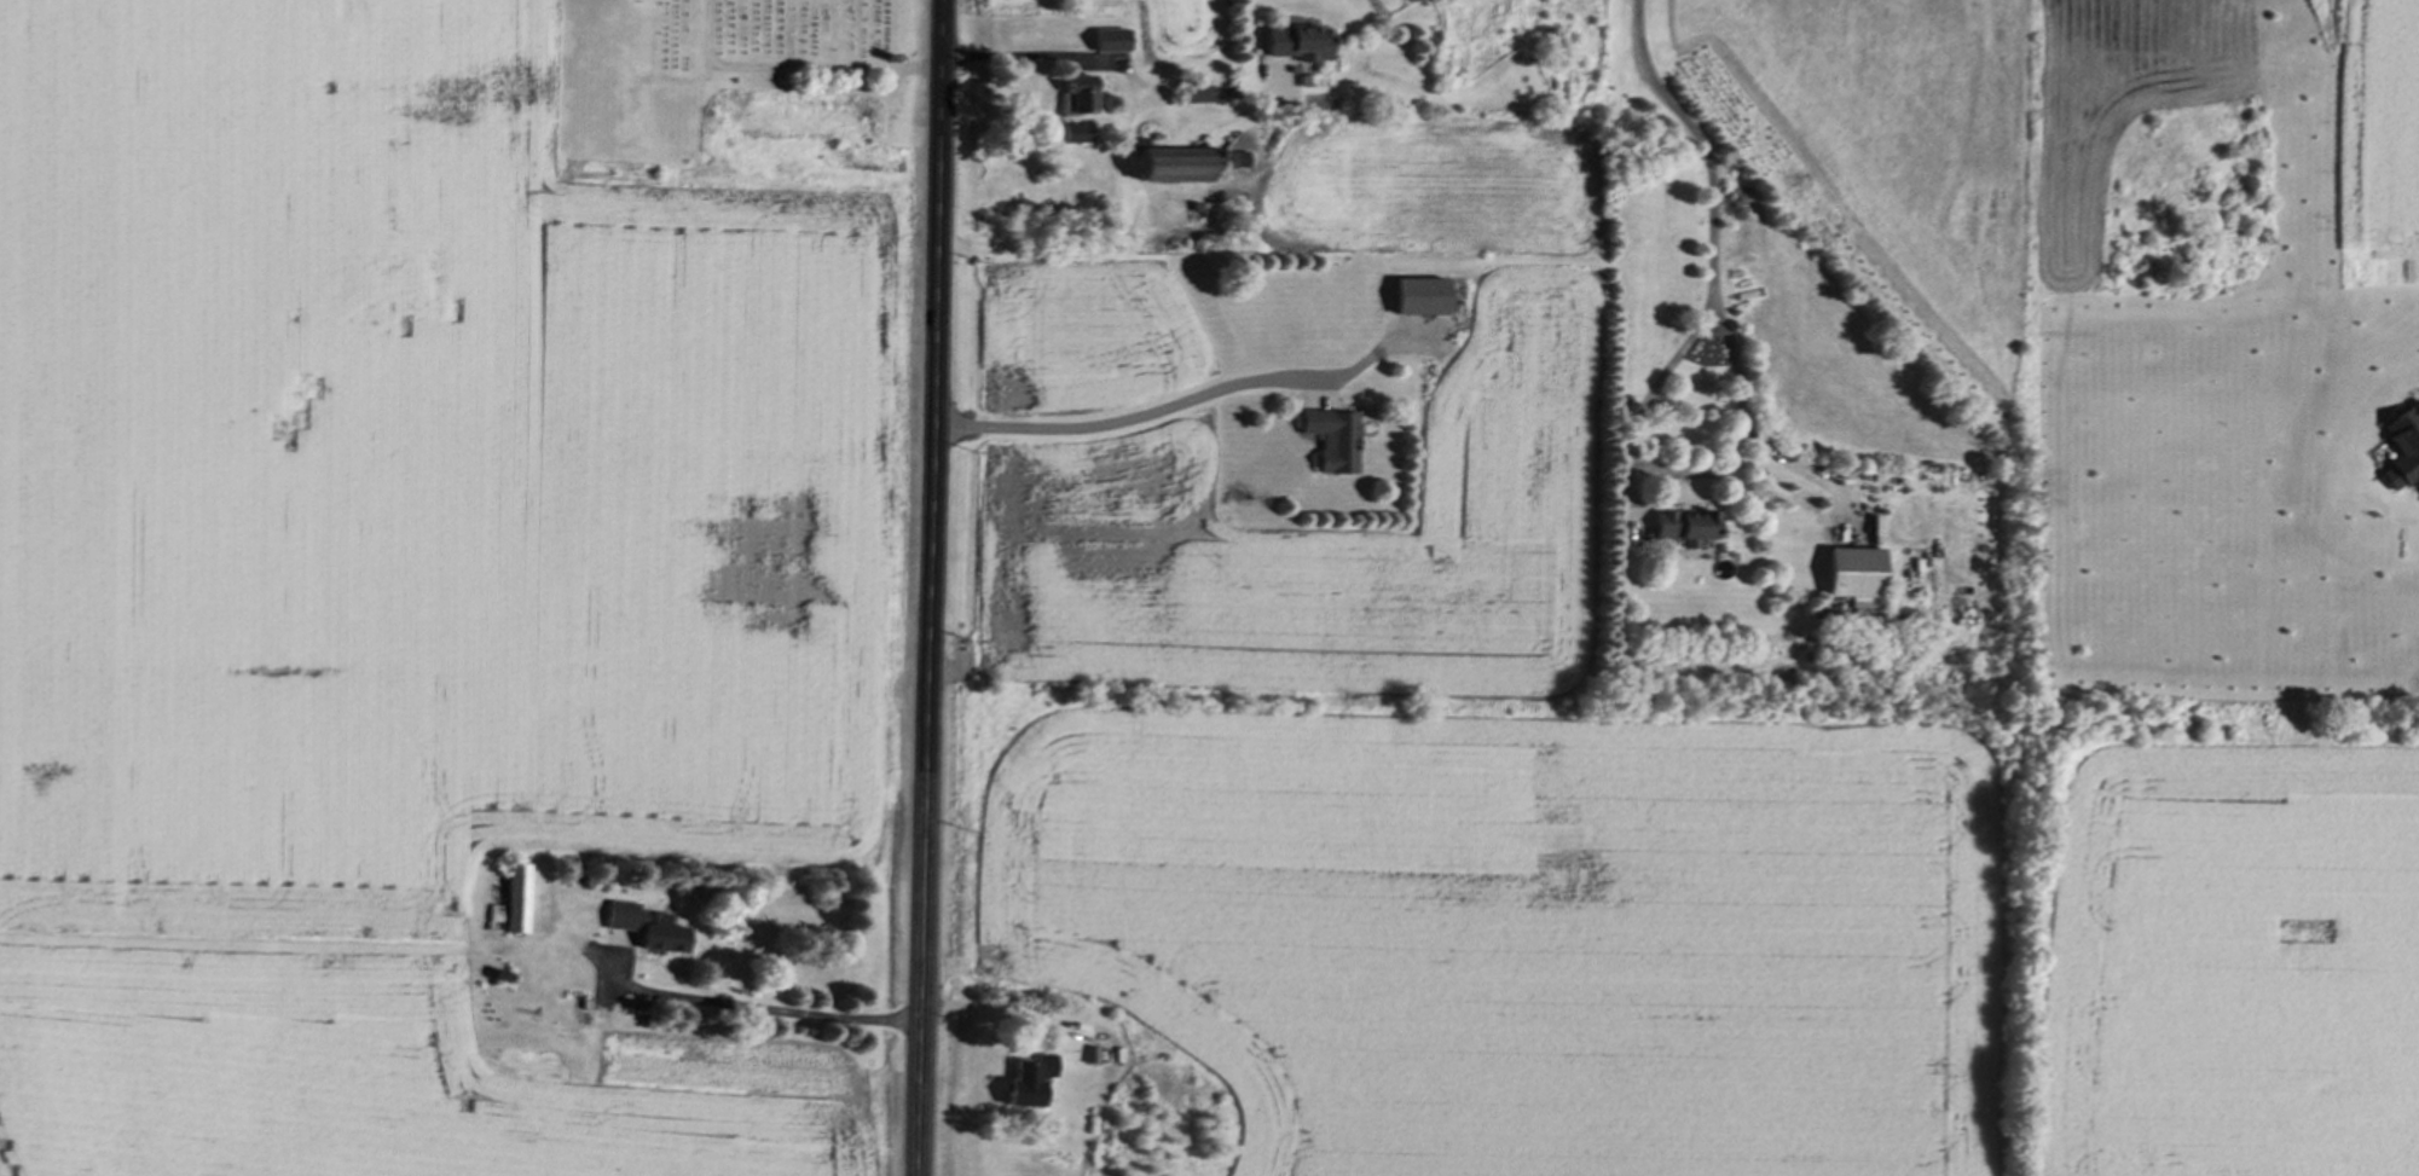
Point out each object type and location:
building: (1106, 44)
building: (1292, 47)
road: (1013, 54)
building: (1073, 100)
road: (1157, 115)
building: (1071, 137)
crop: (2386, 139)
road: (1707, 146)
building: (1161, 168)
road: (1040, 250)
building: (1419, 301)
road: (1128, 419)
building: (1331, 444)
road: (1674, 473)
building: (1678, 529)
building: (1847, 577)
crop: (409, 586)
road: (928, 587)
building: (1867, 616)
crop: (1620, 793)
building: (514, 902)
building: (644, 932)
road: (764, 1010)
building: (1020, 1089)

